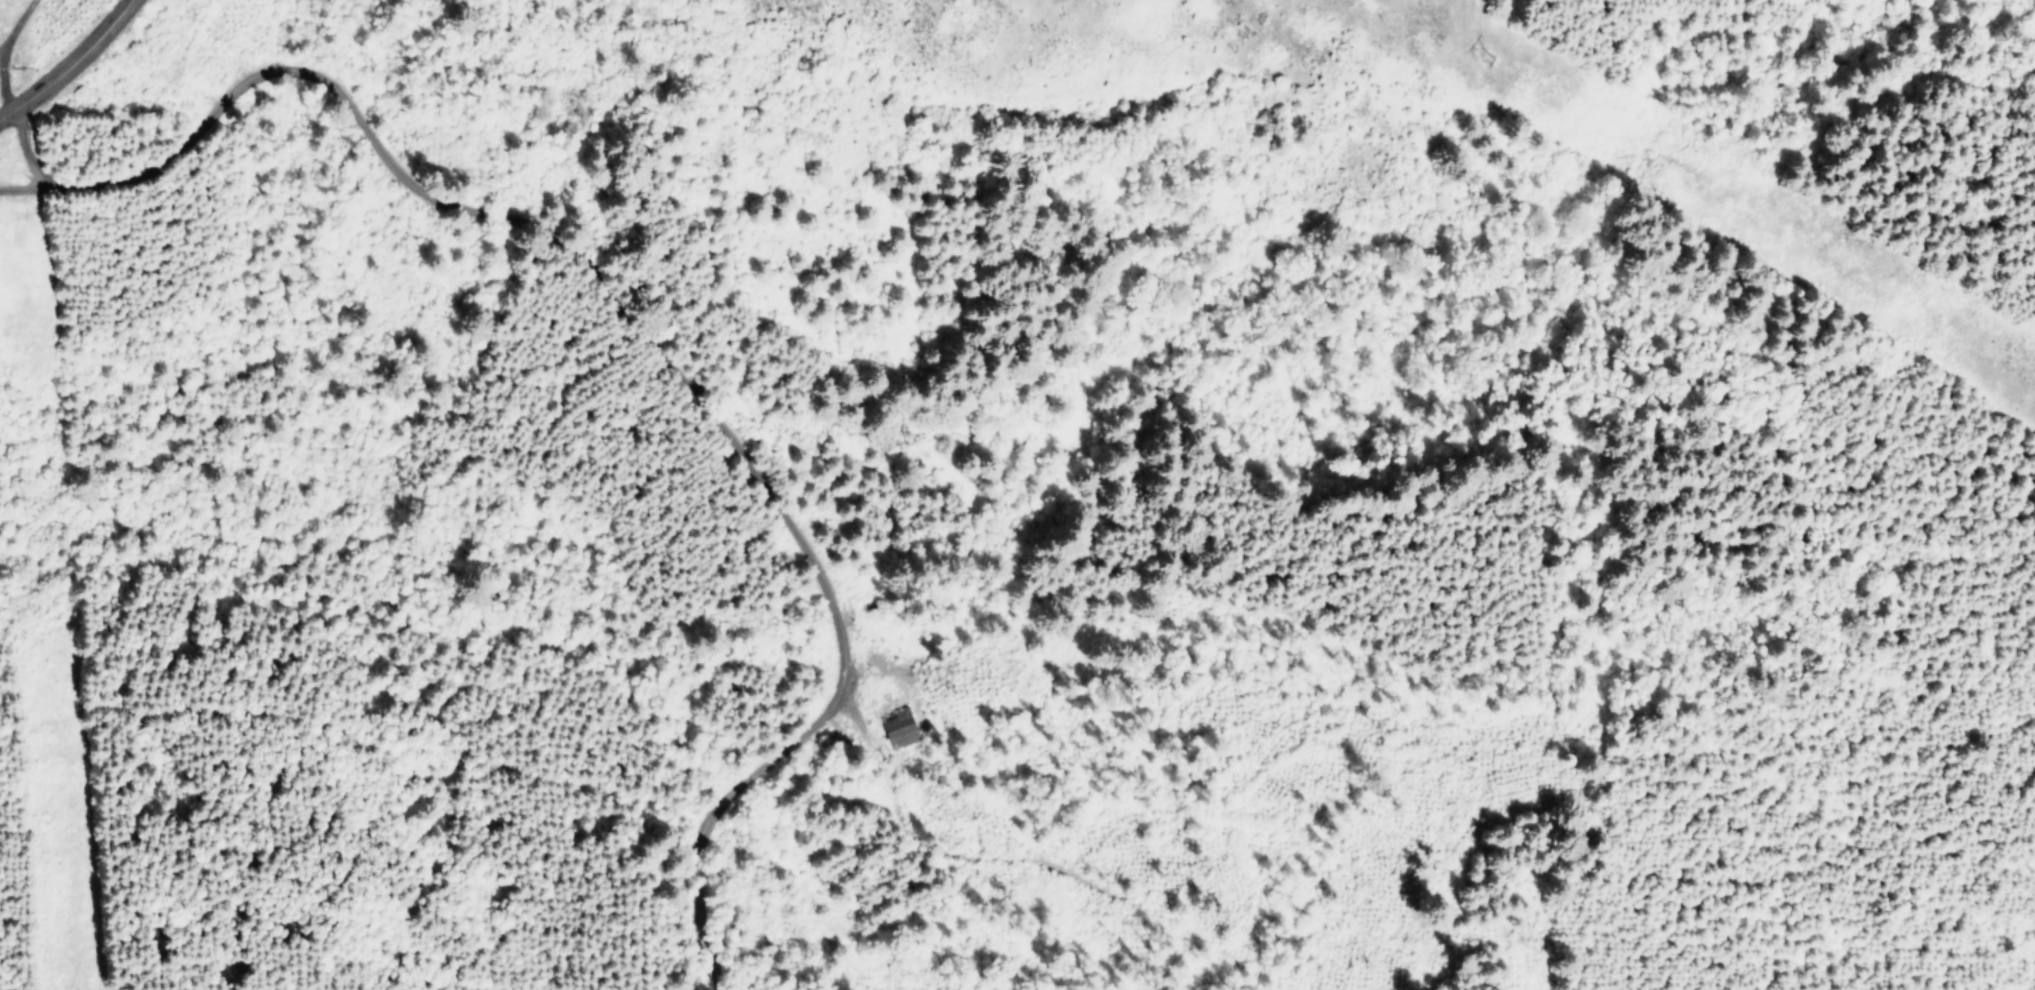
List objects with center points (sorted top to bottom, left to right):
power tower: (1482, 55)
road: (67, 62)
road: (10, 90)
road: (724, 402)
road: (1027, 606)
road: (785, 836)

